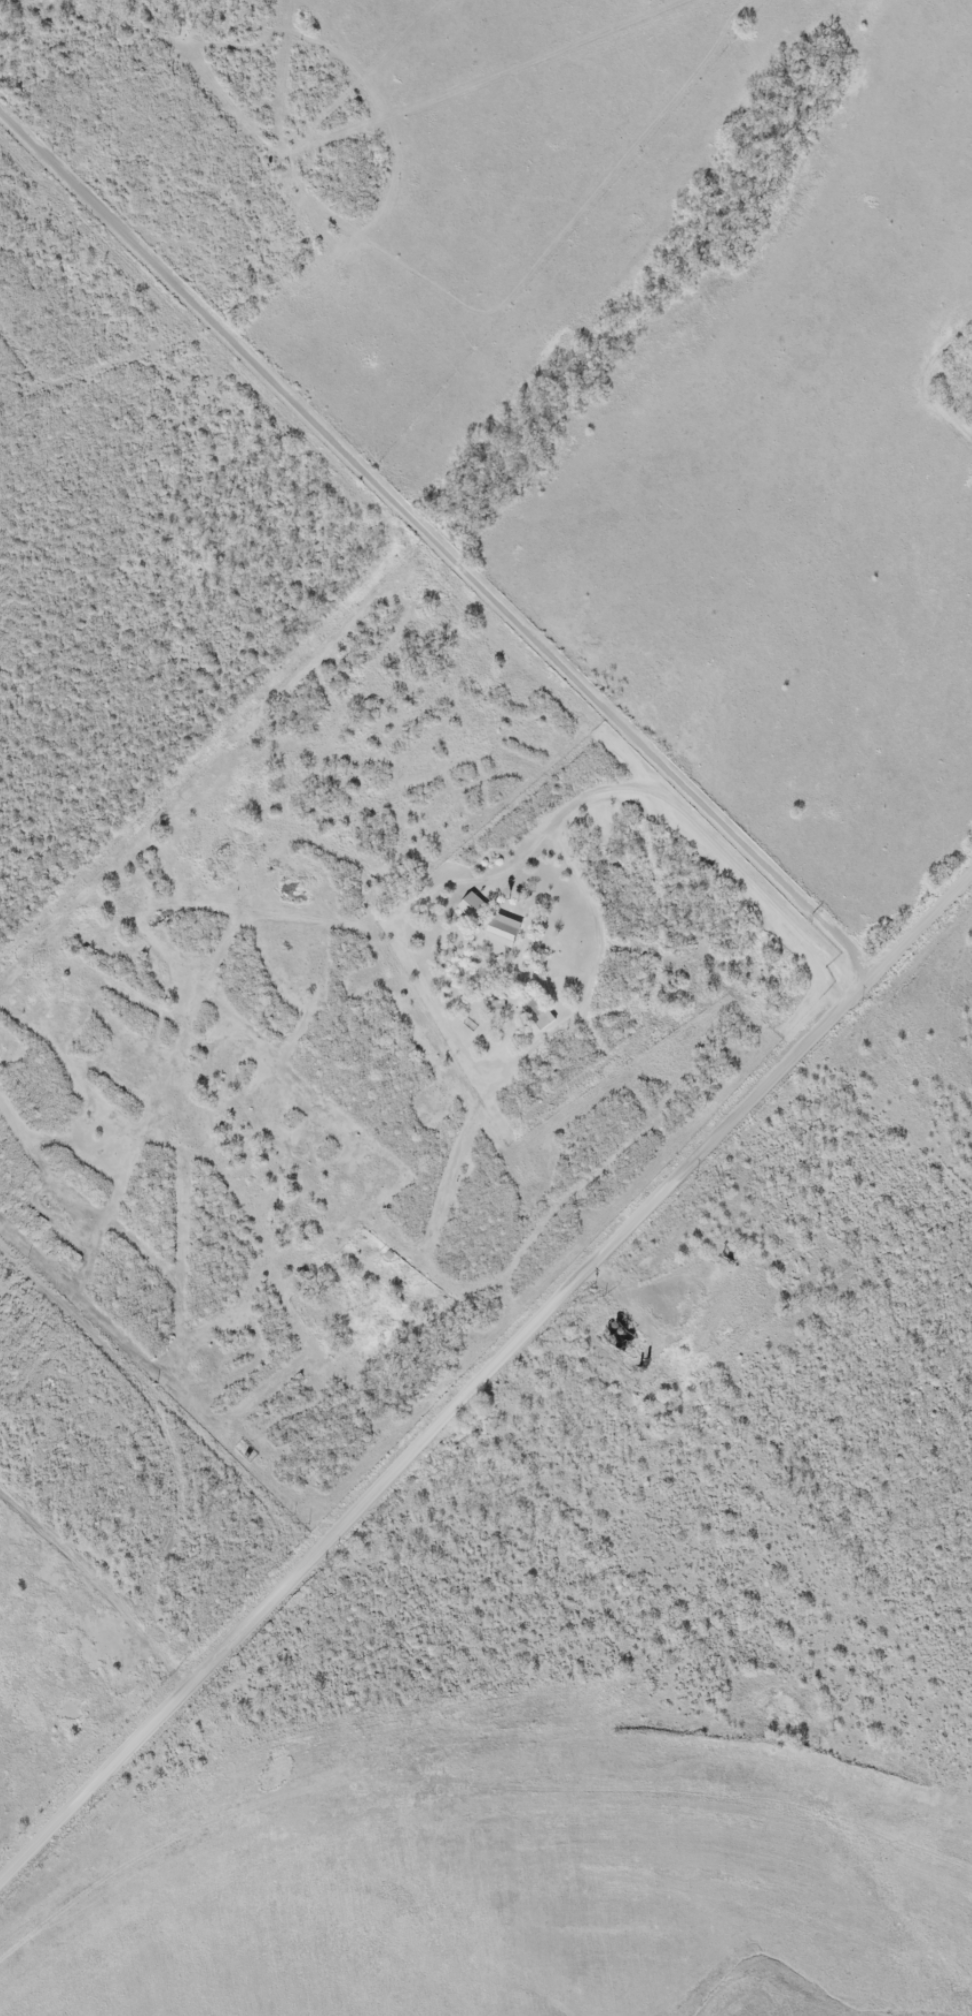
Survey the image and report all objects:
road: (423, 584)
building: (487, 896)
building: (471, 908)
building: (502, 932)
building: (538, 1014)
road: (485, 1371)
road: (158, 1397)

